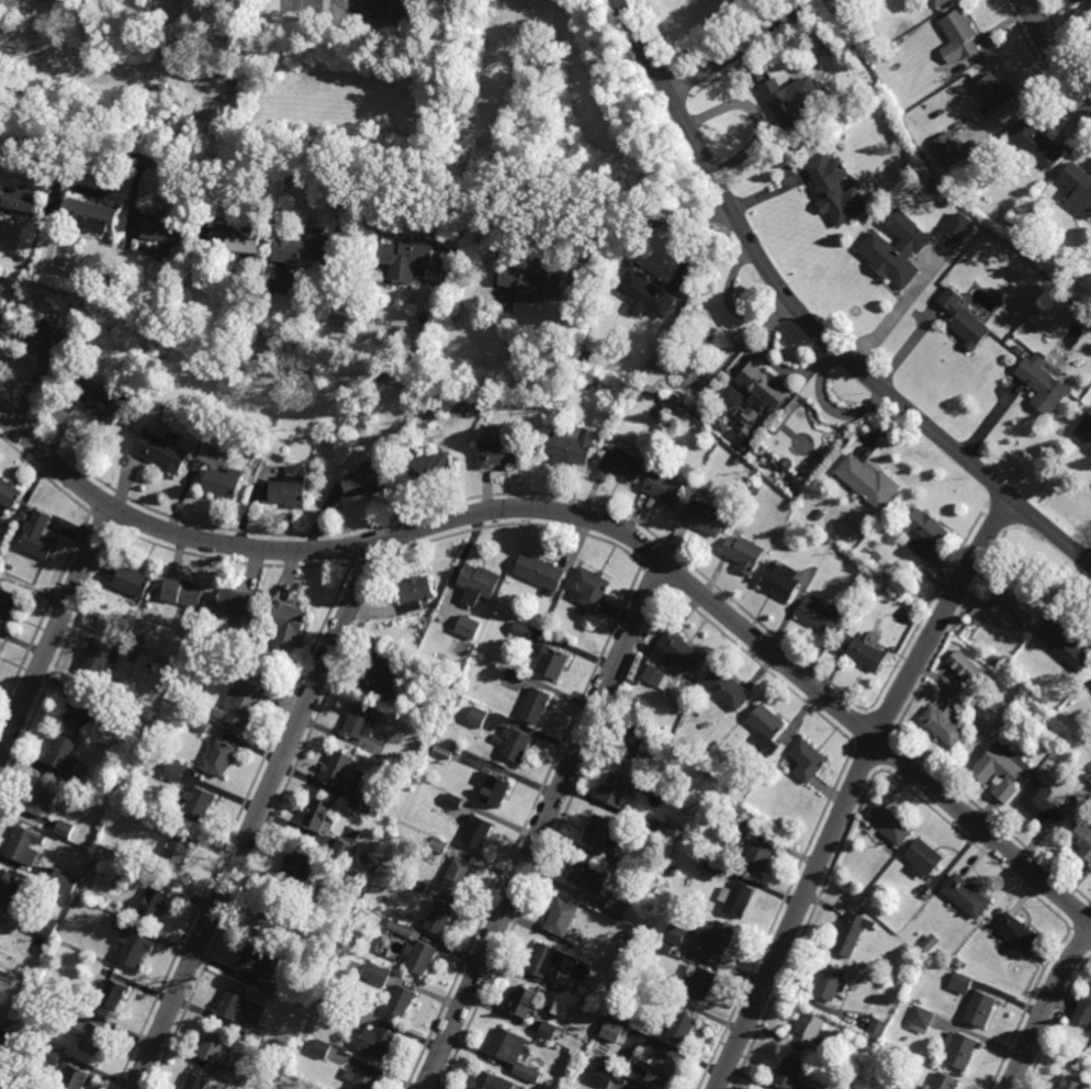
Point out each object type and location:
building: (1086, 0)
building: (942, 3)
building: (3, 25)
building: (959, 37)
road: (1059, 37)
road: (738, 46)
road: (1049, 48)
building: (891, 52)
road: (1038, 61)
building: (997, 93)
building: (791, 102)
building: (1037, 147)
building: (947, 148)
road: (364, 180)
building: (933, 187)
building: (1078, 189)
building: (837, 191)
building: (20, 201)
building: (946, 202)
building: (88, 216)
building: (165, 229)
building: (238, 239)
building: (898, 249)
building: (305, 251)
building: (1058, 258)
building: (1005, 259)
building: (416, 260)
building: (105, 274)
building: (537, 281)
building: (645, 294)
building: (189, 304)
building: (1, 308)
building: (570, 315)
road: (890, 315)
building: (187, 316)
road: (806, 321)
building: (966, 321)
building: (273, 336)
building: (50, 340)
building: (1019, 350)
building: (578, 353)
building: (136, 369)
building: (1044, 385)
building: (123, 392)
building: (756, 392)
building: (475, 397)
building: (97, 403)
building: (497, 405)
building: (274, 411)
building: (1086, 431)
building: (734, 433)
building: (657, 435)
building: (721, 446)
building: (572, 448)
building: (1090, 451)
building: (165, 452)
building: (771, 453)
building: (502, 454)
building: (736, 459)
building: (785, 462)
building: (618, 464)
building: (430, 470)
road: (44, 475)
building: (797, 476)
building: (869, 482)
building: (225, 483)
building: (364, 485)
building: (666, 489)
building: (292, 490)
building: (755, 491)
building: (11, 495)
road: (446, 505)
building: (819, 514)
road: (594, 519)
building: (706, 519)
road: (993, 521)
road: (519, 526)
building: (926, 532)
building: (38, 537)
building: (744, 554)
building: (876, 555)
road: (1089, 559)
road: (232, 563)
building: (542, 572)
road: (655, 579)
building: (783, 580)
building: (133, 581)
building: (481, 584)
building: (592, 587)
building: (185, 593)
building: (415, 593)
building: (240, 602)
building: (1012, 605)
building: (9, 606)
road: (44, 614)
road: (924, 614)
building: (553, 618)
building: (823, 618)
building: (291, 624)
road: (54, 627)
building: (468, 628)
building: (521, 630)
road: (949, 633)
building: (1061, 644)
building: (0, 647)
building: (678, 652)
building: (868, 656)
building: (132, 658)
building: (432, 658)
building: (236, 659)
building: (550, 659)
building: (99, 660)
road: (59, 661)
road: (760, 665)
building: (250, 666)
building: (965, 666)
building: (383, 675)
building: (515, 675)
building: (655, 676)
building: (727, 689)
building: (438, 703)
building: (421, 706)
building: (537, 706)
building: (80, 709)
building: (240, 710)
building: (205, 711)
road: (864, 711)
building: (475, 717)
building: (361, 721)
building: (768, 723)
building: (199, 725)
road: (877, 725)
building: (943, 726)
building: (1003, 727)
road: (859, 729)
road: (893, 737)
building: (517, 743)
road: (853, 745)
building: (632, 746)
road: (885, 751)
building: (59, 753)
road: (868, 754)
building: (222, 759)
building: (809, 761)
road: (880, 768)
building: (998, 770)
building: (172, 773)
building: (342, 773)
building: (1089, 775)
building: (80, 782)
road: (853, 787)
building: (496, 789)
building: (617, 793)
building: (42, 799)
building: (452, 800)
building: (199, 804)
building: (368, 804)
building: (1039, 806)
building: (322, 815)
road: (256, 816)
road: (993, 819)
building: (726, 820)
road: (267, 823)
building: (749, 823)
road: (543, 824)
building: (155, 826)
building: (892, 826)
road: (232, 828)
road: (522, 828)
building: (64, 830)
building: (477, 831)
building: (599, 831)
building: (667, 832)
road: (555, 840)
building: (1082, 841)
building: (25, 845)
building: (439, 845)
road: (975, 847)
building: (342, 850)
building: (735, 853)
building: (179, 854)
building: (758, 856)
building: (925, 858)
building: (614, 860)
building: (299, 867)
building: (710, 868)
building: (128, 875)
building: (460, 875)
building: (587, 875)
building: (61, 878)
building: (418, 886)
building: (12, 888)
building: (315, 894)
building: (966, 896)
building: (738, 900)
building: (157, 903)
building: (617, 907)
building: (272, 916)
building: (442, 918)
building: (562, 918)
road: (774, 918)
road: (1082, 919)
building: (0, 920)
building: (121, 922)
building: (44, 923)
building: (400, 928)
road: (803, 928)
road: (1070, 929)
building: (854, 932)
building: (674, 933)
building: (1014, 933)
building: (626, 934)
road: (1082, 935)
building: (718, 939)
building: (930, 943)
building: (663, 946)
building: (134, 951)
building: (676, 952)
building: (936, 953)
building: (420, 957)
building: (337, 961)
building: (547, 961)
building: (259, 963)
building: (35, 964)
building: (376, 974)
building: (30, 976)
building: (589, 979)
building: (832, 980)
building: (701, 983)
building: (960, 983)
building: (268, 986)
building: (561, 988)
building: (114, 995)
building: (402, 1001)
building: (587, 1001)
building: (526, 1002)
building: (64, 1004)
road: (1025, 1007)
building: (241, 1008)
road: (1045, 1008)
building: (342, 1010)
building: (981, 1010)
building: (1083, 1010)
building: (620, 1011)
building: (921, 1019)
road: (1055, 1021)
building: (8, 1022)
building: (683, 1025)
building: (876, 1025)
building: (548, 1029)
building: (611, 1029)
building: (810, 1031)
building: (92, 1037)
building: (3, 1040)
building: (380, 1043)
building: (279, 1045)
building: (320, 1046)
building: (509, 1046)
building: (214, 1048)
building: (960, 1052)
building: (49, 1053)
building: (663, 1067)
building: (527, 1073)
building: (790, 1074)
building: (603, 1077)
building: (77, 1079)
building: (363, 1079)
building: (196, 1082)
building: (494, 1082)
building: (945, 1082)
building: (1068, 1084)
building: (811, 1087)
building: (29, 1088)
building: (312, 1088)
building: (902, 1088)
building: (906, 1088)

